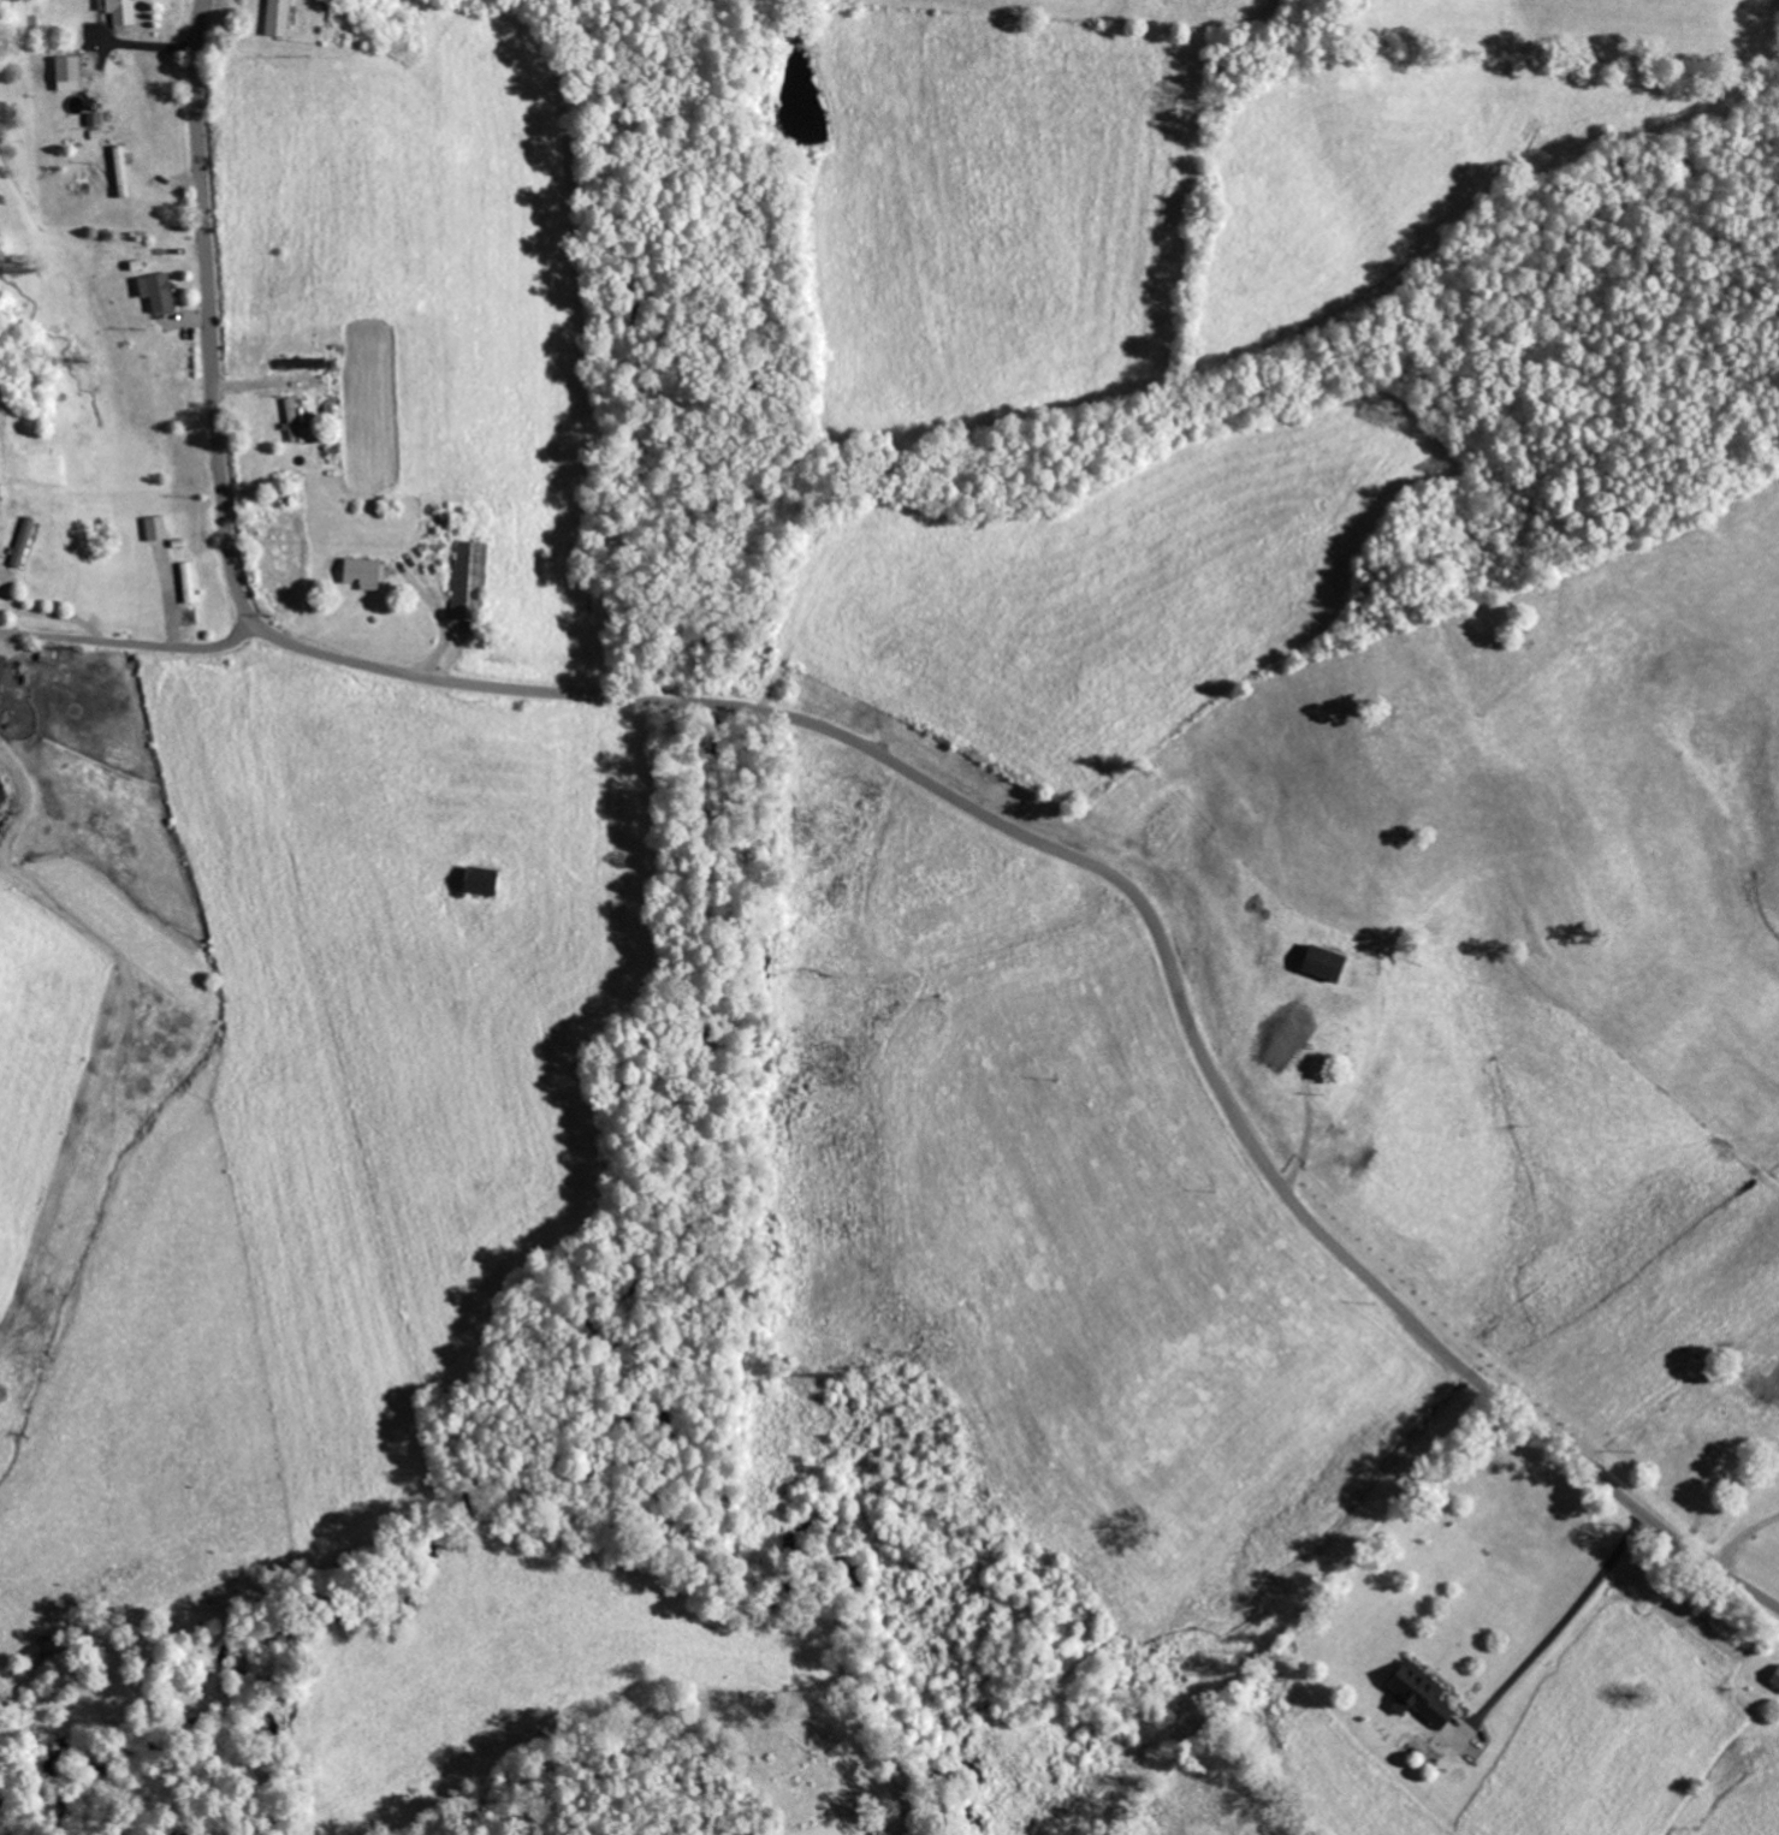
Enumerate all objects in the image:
building: (119, 11)
building: (275, 17)
building: (67, 69)
building: (154, 291)
building: (154, 528)
building: (23, 542)
building: (361, 574)
building: (468, 576)
building: (188, 582)
road: (132, 646)
building: (0, 663)
road: (882, 750)
building: (475, 881)
building: (1276, 1045)
building: (1773, 1676)
building: (1415, 1693)

